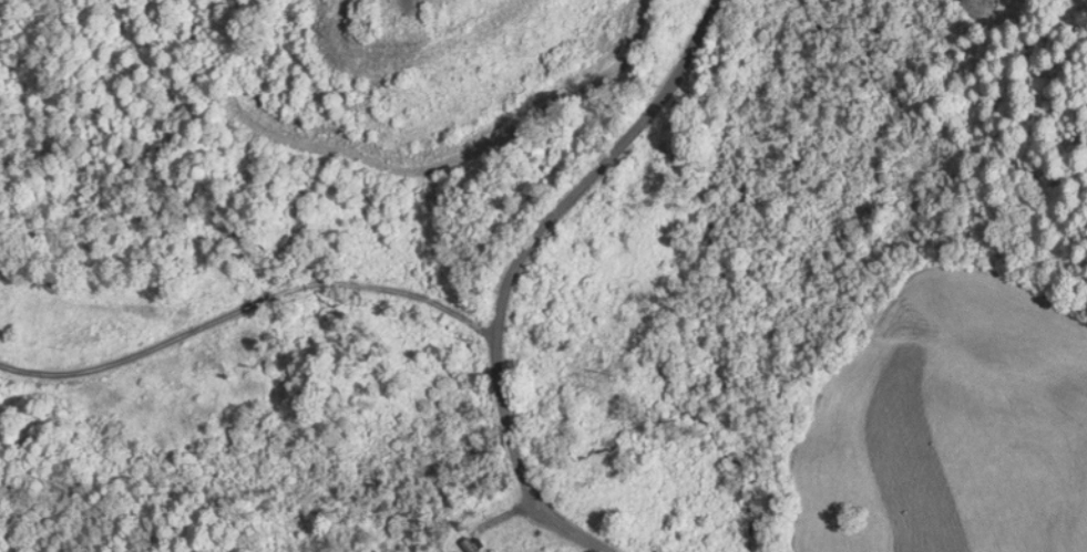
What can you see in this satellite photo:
road: (627, 123)
quarry: (454, 205)
road: (510, 414)

